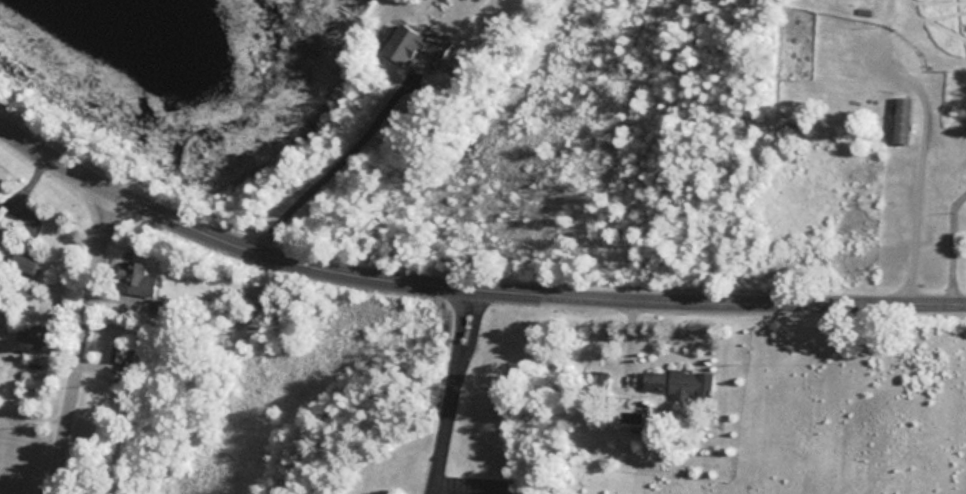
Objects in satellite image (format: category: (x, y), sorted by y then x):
building: (403, 42)
building: (903, 120)
building: (23, 263)
building: (138, 279)
road: (465, 284)
road: (456, 319)
road: (472, 322)
building: (34, 335)
road: (73, 339)
building: (121, 355)
building: (680, 384)
road: (441, 424)
road: (452, 493)

